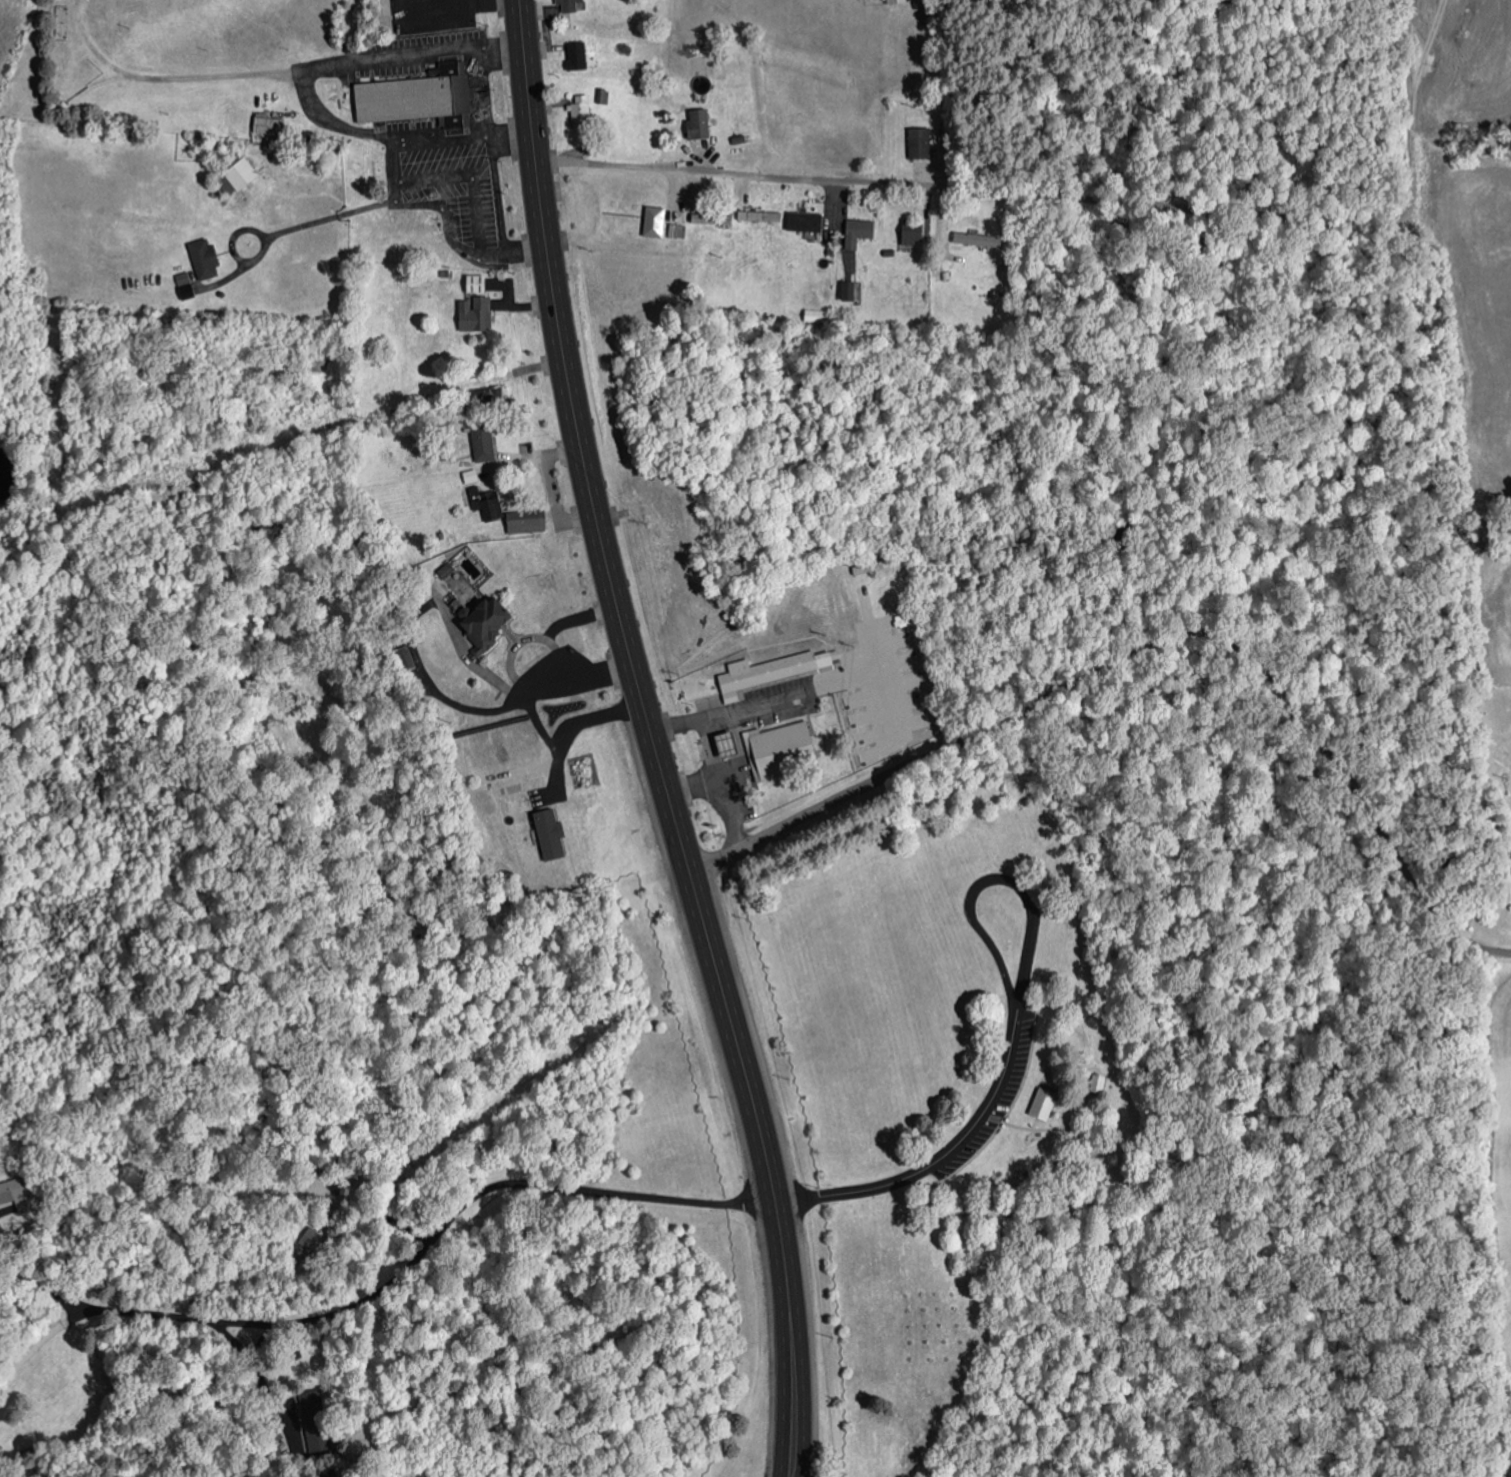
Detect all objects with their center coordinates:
building: (897, 1)
building: (570, 5)
building: (578, 56)
building: (420, 97)
building: (700, 124)
building: (271, 125)
building: (922, 142)
road: (1077, 197)
building: (762, 216)
building: (705, 218)
building: (658, 220)
building: (806, 221)
building: (678, 230)
building: (861, 232)
building: (914, 232)
building: (978, 239)
building: (205, 258)
building: (478, 284)
building: (186, 285)
building: (849, 291)
building: (477, 314)
road: (575, 413)
building: (484, 438)
road: (1330, 465)
building: (471, 475)
building: (488, 501)
road: (554, 645)
road: (1152, 645)
building: (773, 670)
road: (549, 738)
building: (729, 743)
building: (777, 748)
road: (1088, 813)
building: (552, 832)
road: (1019, 878)
park: (900, 1055)
building: (1095, 1084)
parking lot: (993, 1101)
road: (1073, 1101)
building: (1040, 1105)
road: (1035, 1124)
road: (1063, 1127)
road: (767, 1142)
road: (946, 1153)
building: (16, 1194)
road: (787, 1200)
road: (8, 1211)
road: (1376, 1266)
road: (389, 1279)
road: (42, 1288)
road: (1119, 1312)
road: (265, 1380)
building: (315, 1420)
building: (274, 1435)
road: (106, 1453)
road: (96, 1475)

